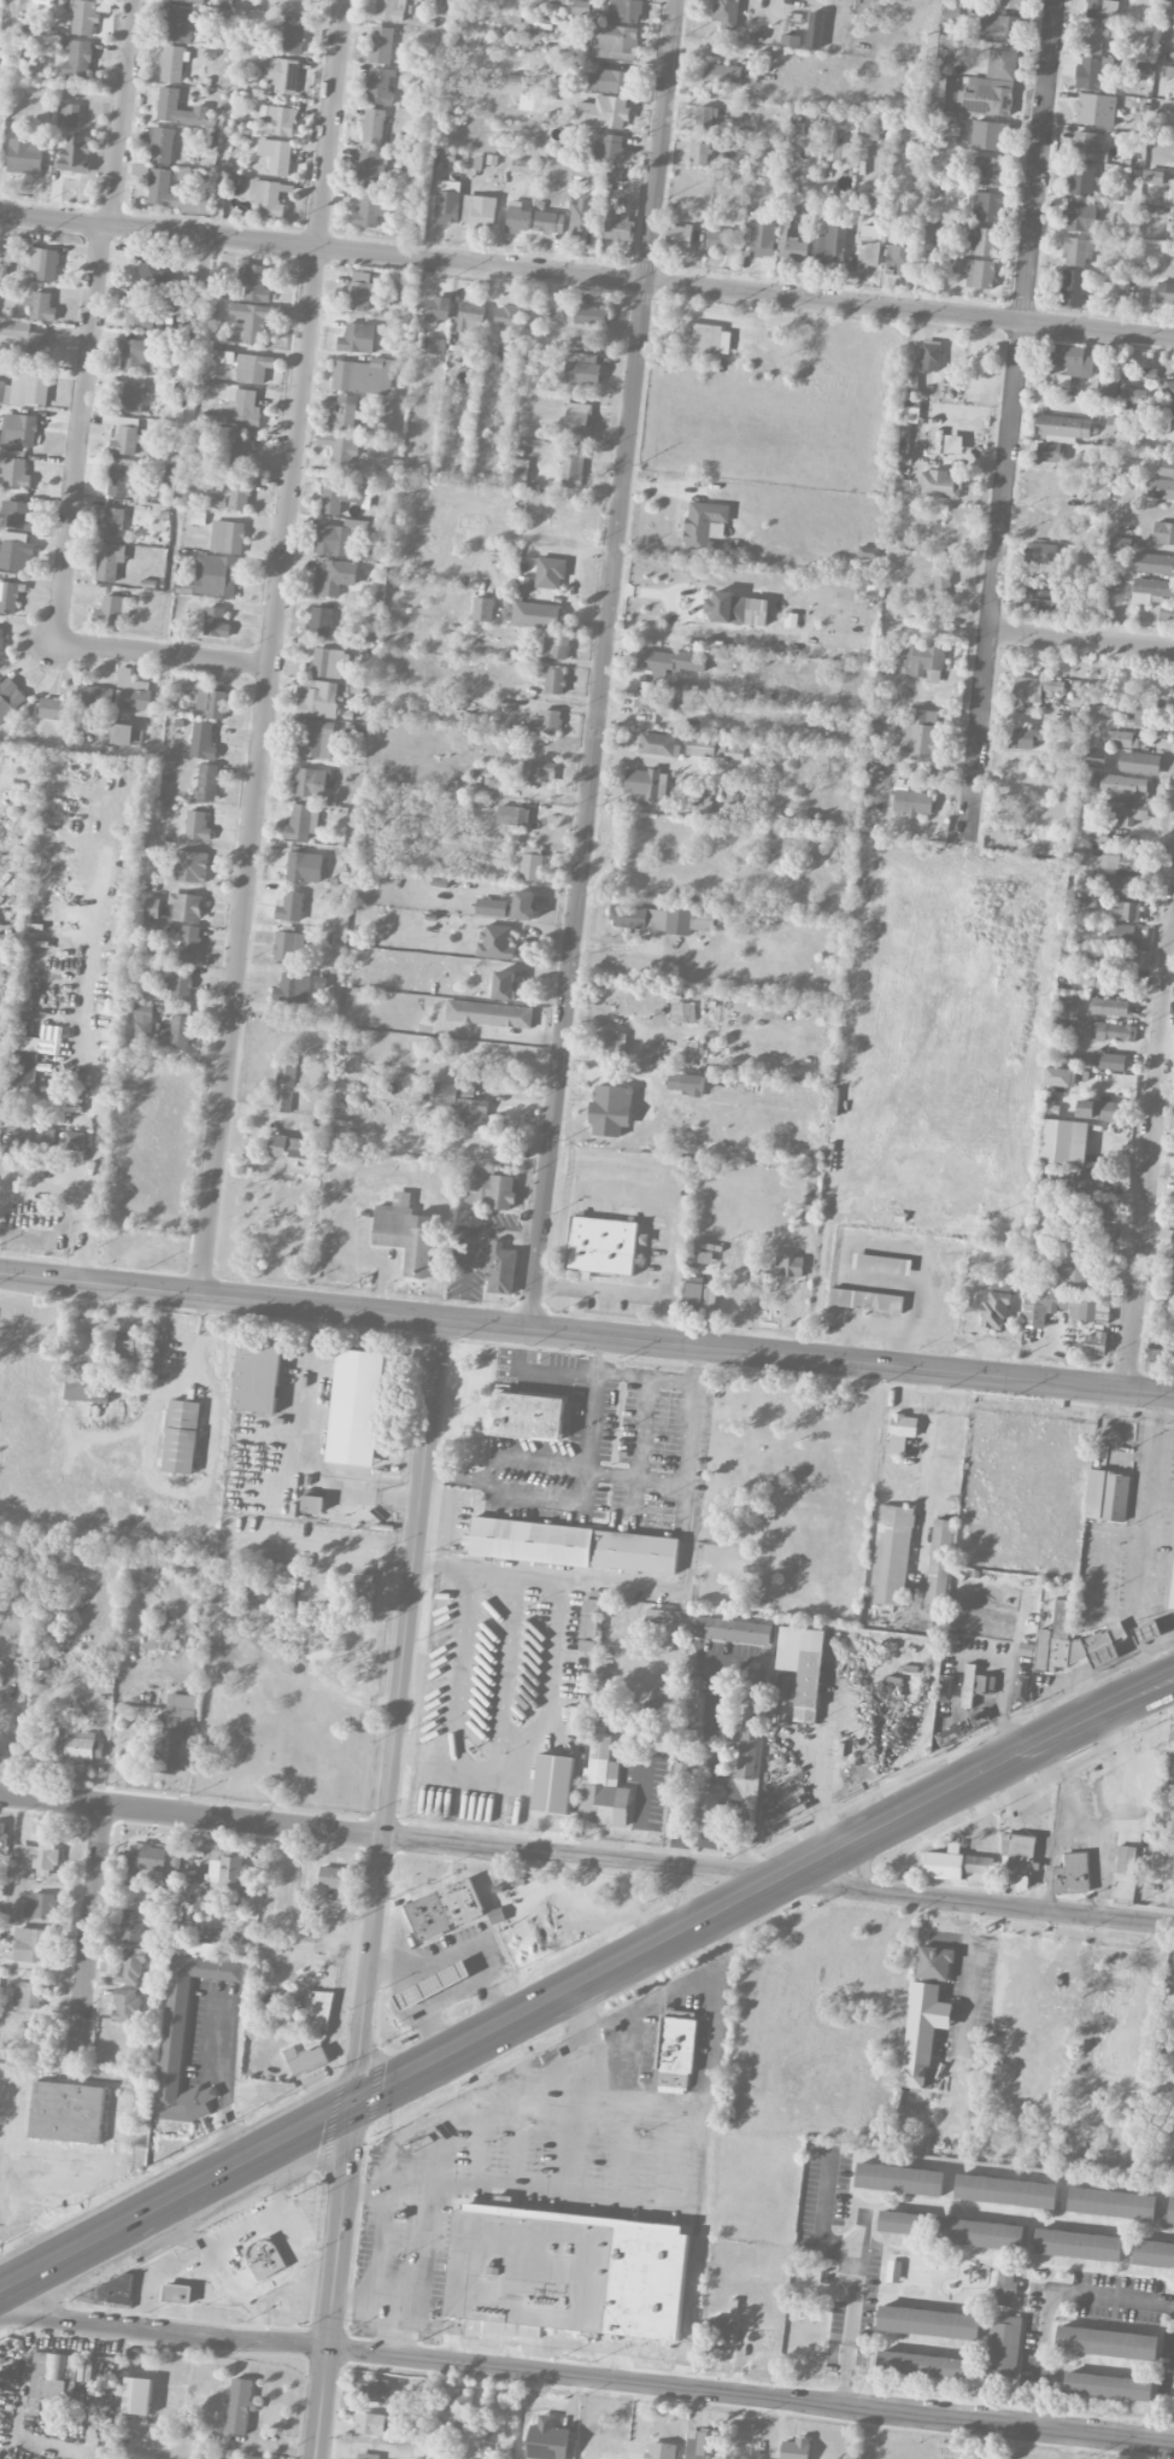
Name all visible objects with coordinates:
building: (194, 0)
building: (556, 1)
building: (1169, 2)
building: (1009, 4)
building: (581, 7)
building: (1100, 8)
building: (391, 10)
building: (726, 12)
building: (951, 13)
building: (83, 17)
building: (180, 23)
building: (998, 27)
building: (815, 30)
building: (292, 35)
building: (1092, 39)
building: (789, 40)
building: (615, 42)
building: (381, 45)
building: (76, 58)
building: (552, 63)
building: (172, 64)
building: (1002, 65)
building: (1093, 74)
building: (283, 75)
building: (724, 75)
building: (609, 81)
building: (940, 86)
building: (380, 87)
building: (986, 98)
building: (168, 106)
building: (1096, 110)
road: (122, 112)
building: (603, 112)
building: (70, 115)
building: (704, 117)
building: (278, 118)
building: (372, 127)
building: (870, 129)
building: (988, 135)
building: (162, 145)
building: (1088, 148)
building: (607, 150)
building: (840, 152)
building: (76, 154)
building: (699, 154)
building: (276, 156)
building: (25, 157)
building: (523, 166)
building: (371, 169)
building: (992, 171)
building: (1081, 180)
building: (172, 194)
building: (266, 198)
building: (986, 206)
building: (447, 207)
building: (370, 210)
building: (479, 211)
building: (582, 215)
building: (517, 217)
building: (1080, 217)
building: (550, 222)
building: (617, 227)
building: (938, 230)
building: (1173, 233)
building: (679, 236)
building: (722, 241)
building: (762, 241)
building: (982, 242)
building: (832, 245)
building: (796, 250)
building: (868, 252)
building: (1076, 252)
building: (900, 259)
building: (45, 263)
building: (155, 271)
building: (976, 273)
road: (587, 275)
building: (253, 282)
building: (1074, 287)
building: (362, 291)
building: (1166, 293)
building: (40, 308)
building: (436, 310)
building: (183, 311)
building: (139, 315)
building: (505, 316)
building: (589, 316)
building: (470, 318)
building: (252, 320)
building: (357, 339)
building: (711, 339)
building: (27, 340)
building: (137, 356)
building: (928, 356)
building: (222, 357)
building: (1073, 361)
building: (252, 368)
building: (582, 369)
building: (363, 376)
building: (25, 390)
building: (1167, 390)
building: (1132, 393)
building: (131, 398)
building: (241, 409)
building: (344, 414)
building: (1163, 415)
road: (1010, 418)
building: (579, 420)
building: (1063, 428)
building: (19, 431)
road: (78, 433)
building: (125, 441)
building: (953, 444)
building: (340, 452)
building: (1049, 452)
building: (240, 453)
building: (573, 466)
building: (1166, 468)
building: (13, 469)
building: (517, 472)
building: (121, 476)
building: (940, 485)
building: (1160, 488)
building: (231, 497)
building: (339, 497)
building: (17, 515)
building: (111, 523)
building: (704, 526)
building: (1163, 533)
building: (227, 537)
building: (340, 537)
building: (1120, 543)
building: (868, 552)
building: (14, 555)
building: (110, 561)
building: (1154, 563)
building: (550, 573)
building: (218, 576)
building: (333, 576)
building: (1090, 578)
building: (941, 585)
building: (1152, 591)
building: (8, 597)
building: (1039, 598)
building: (113, 609)
building: (482, 609)
building: (738, 609)
building: (1167, 613)
building: (536, 615)
building: (791, 620)
building: (321, 621)
building: (216, 622)
road: (1081, 638)
building: (1, 643)
building: (556, 645)
road: (271, 648)
road: (163, 655)
building: (670, 661)
building: (924, 662)
building: (327, 663)
road: (603, 664)
building: (552, 680)
building: (687, 686)
building: (1033, 689)
building: (133, 691)
building: (8, 697)
building: (96, 697)
building: (317, 698)
building: (212, 703)
building: (653, 706)
building: (53, 709)
building: (1140, 710)
building: (546, 722)
building: (122, 734)
building: (918, 734)
building: (1026, 738)
building: (316, 739)
building: (1123, 740)
building: (202, 742)
building: (658, 744)
building: (700, 747)
building: (729, 751)
building: (1096, 762)
building: (1140, 763)
building: (538, 772)
building: (500, 781)
building: (205, 783)
building: (310, 783)
building: (647, 784)
building: (1123, 785)
building: (912, 803)
building: (1127, 812)
building: (512, 815)
building: (301, 822)
building: (196, 826)
building: (776, 847)
building: (1123, 861)
building: (529, 863)
building: (189, 866)
building: (304, 867)
building: (1120, 885)
building: (1086, 903)
building: (186, 907)
building: (289, 907)
building: (509, 907)
building: (152, 908)
building: (1125, 912)
building: (667, 919)
building: (1123, 935)
building: (495, 942)
building: (288, 945)
building: (188, 949)
building: (1091, 956)
building: (1120, 962)
building: (1114, 982)
building: (293, 985)
building: (504, 985)
building: (178, 986)
building: (1109, 1007)
building: (488, 1014)
building: (142, 1019)
building: (1103, 1031)
building: (180, 1032)
road: (499, 1034)
building: (25, 1043)
building: (612, 1044)
building: (1109, 1061)
building: (22, 1070)
building: (1061, 1077)
building: (686, 1083)
building: (283, 1088)
building: (460, 1103)
building: (610, 1110)
building: (1097, 1110)
building: (33, 1136)
building: (75, 1141)
building: (1064, 1142)
building: (293, 1153)
road: (1149, 1153)
building: (1092, 1179)
building: (489, 1190)
road: (83, 1208)
building: (1091, 1210)
building: (1173, 1218)
building: (405, 1237)
building: (1173, 1245)
building: (604, 1246)
building: (699, 1253)
building: (881, 1264)
building: (788, 1266)
building: (1172, 1267)
building: (501, 1269)
building: (1072, 1278)
building: (1170, 1290)
building: (698, 1294)
building: (865, 1300)
building: (1063, 1307)
building: (1164, 1319)
road: (586, 1335)
building: (1094, 1343)
building: (125, 1345)
building: (1158, 1347)
road: (598, 1356)
road: (548, 1371)
building: (257, 1376)
road: (646, 1378)
building: (87, 1392)
building: (358, 1407)
building: (183, 1413)
building: (524, 1417)
building: (902, 1432)
building: (180, 1451)
road: (686, 1459)
road: (571, 1463)
road: (452, 1476)
building: (1108, 1494)
road: (541, 1495)
building: (312, 1504)
building: (573, 1546)
building: (890, 1555)
building: (939, 1564)
road: (673, 1586)
building: (1173, 1593)
building: (362, 1594)
building: (982, 1615)
building: (662, 1617)
building: (589, 1618)
building: (732, 1630)
building: (1146, 1632)
building: (158, 1640)
building: (1073, 1643)
building: (586, 1645)
building: (803, 1667)
road: (1006, 1679)
building: (752, 1685)
building: (984, 1685)
building: (654, 1711)
building: (980, 1716)
building: (575, 1721)
building: (176, 1729)
road: (708, 1734)
building: (683, 1739)
building: (750, 1743)
building: (82, 1746)
road: (499, 1772)
building: (681, 1773)
building: (553, 1784)
building: (603, 1786)
building: (1167, 1811)
building: (711, 1813)
building: (2, 1834)
road: (702, 1840)
building: (1019, 1840)
road: (587, 1855)
building: (35, 1857)
building: (1125, 1860)
building: (147, 1863)
building: (980, 1864)
building: (943, 1866)
building: (1070, 1875)
building: (231, 1877)
building: (333, 1878)
road: (377, 1890)
building: (40, 1905)
building: (445, 1909)
building: (131, 1927)
road: (89, 1932)
building: (31, 1945)
building: (934, 1963)
building: (130, 1967)
road: (646, 1978)
road: (962, 1978)
road: (583, 1983)
building: (432, 1985)
building: (28, 1995)
building: (125, 2006)
road: (635, 2009)
building: (318, 2010)
building: (922, 2033)
building: (174, 2034)
building: (675, 2053)
building: (309, 2061)
road: (225, 2084)
road: (597, 2089)
traffic signals: (354, 2107)
building: (66, 2113)
road: (403, 2136)
building: (899, 2179)
road: (604, 2191)
building: (1006, 2191)
road: (389, 2194)
building: (1111, 2203)
building: (1169, 2211)
road: (823, 2213)
building: (900, 2223)
building: (979, 2232)
building: (1078, 2244)
building: (1154, 2253)
building: (264, 2258)
building: (893, 2271)
building: (565, 2273)
building: (1006, 2285)
building: (176, 2294)
road: (1100, 2297)
road: (353, 2301)
road: (851, 2311)
building: (929, 2322)
building: (720, 2332)
building: (1107, 2342)
building: (1003, 2344)
building: (922, 2365)
road: (1040, 2371)
road: (586, 2378)
building: (51, 2384)
building: (1108, 2385)
building: (372, 2390)
building: (137, 2396)
building: (240, 2406)
building: (460, 2410)
building: (371, 2424)
building: (547, 2440)
building: (702, 2443)
building: (796, 2448)
building: (661, 2451)
building: (366, 2457)
building: (259, 2458)

